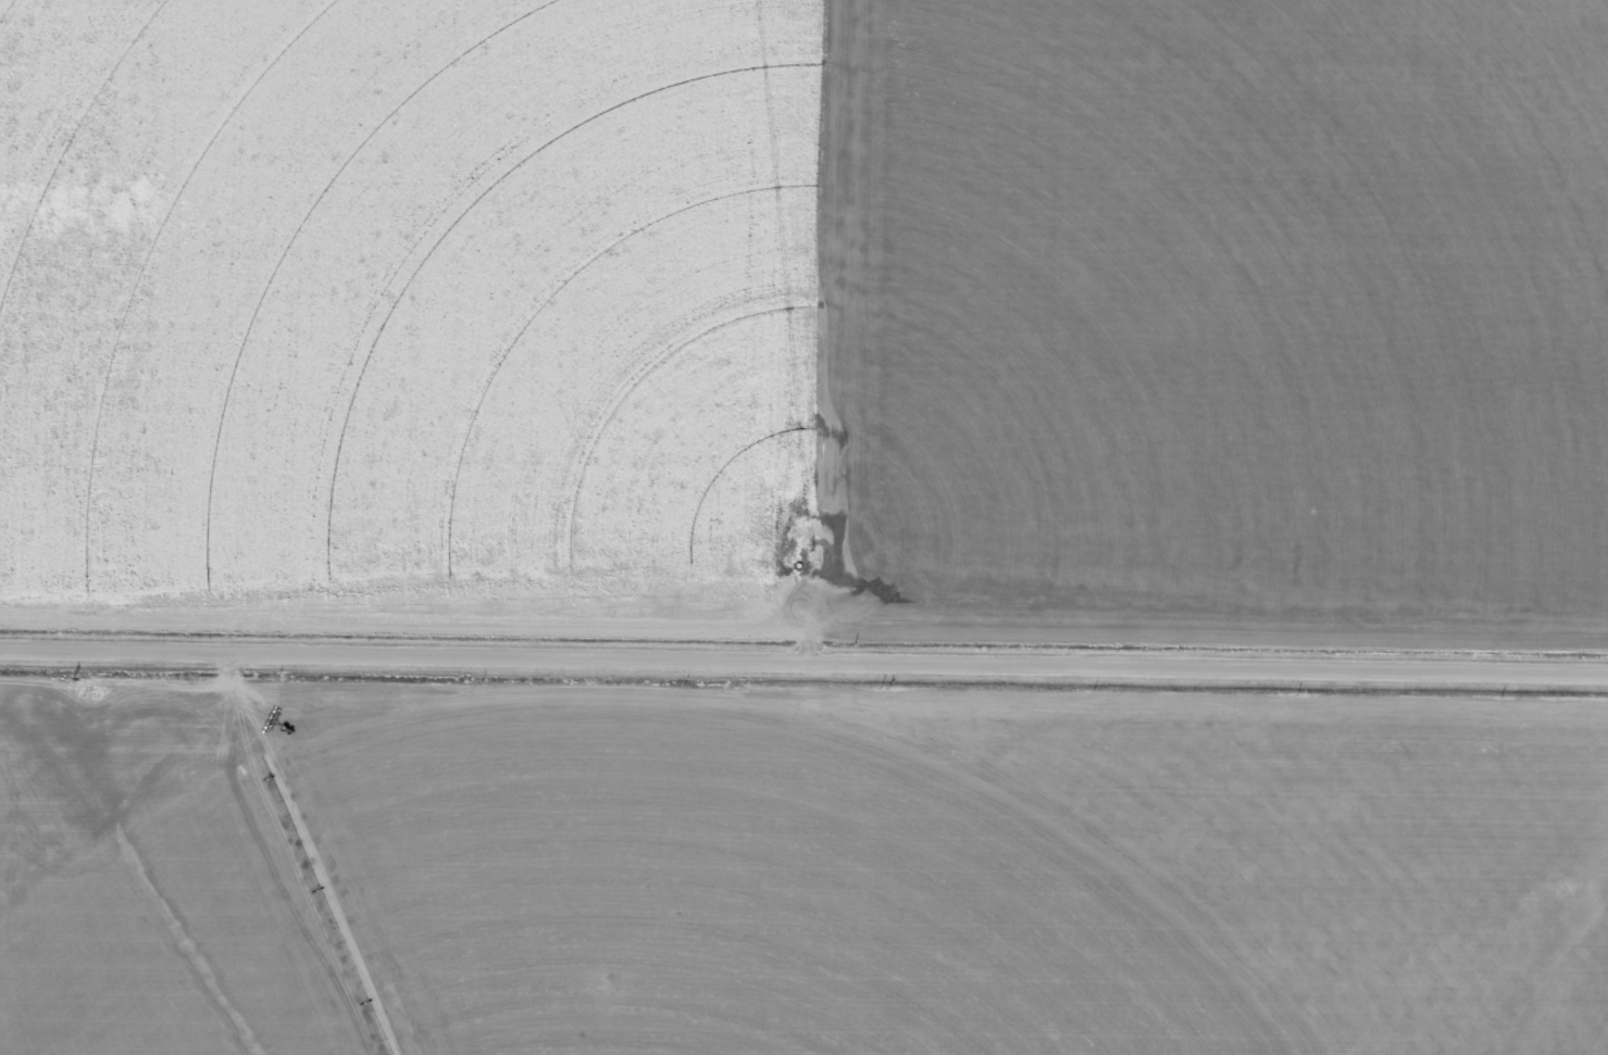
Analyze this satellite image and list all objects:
road: (803, 665)
crop: (797, 872)

